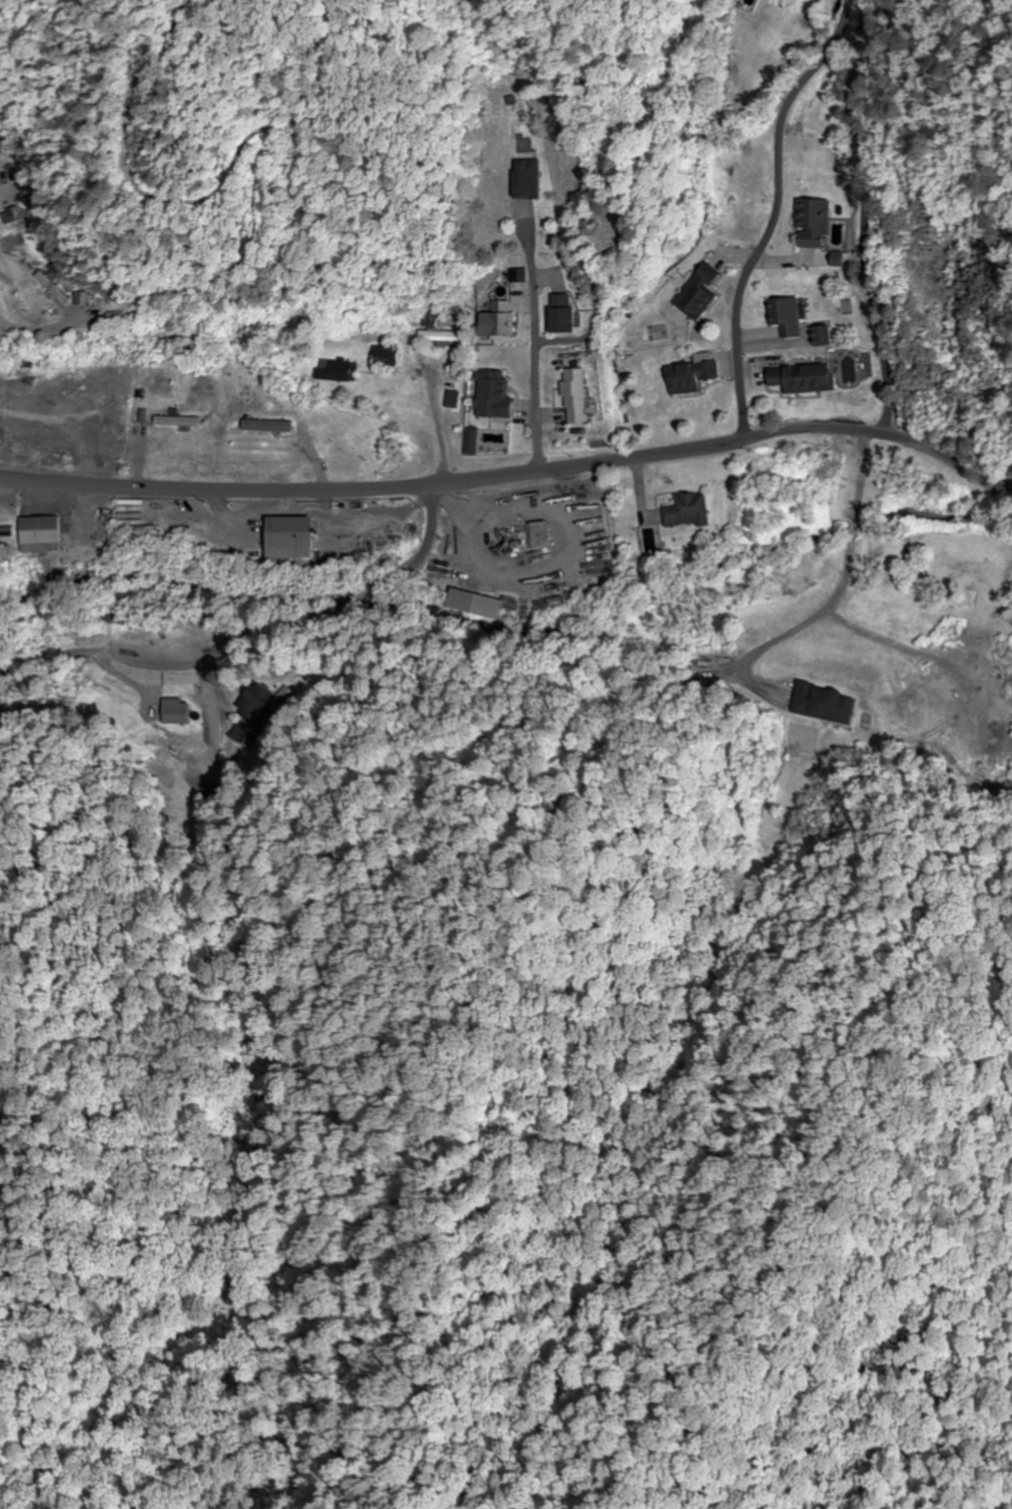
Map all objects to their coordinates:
building: (4, 166)
building: (522, 178)
road: (864, 214)
building: (811, 223)
road: (774, 224)
building: (46, 286)
building: (697, 292)
building: (560, 313)
building: (784, 316)
building: (496, 320)
building: (820, 336)
building: (439, 338)
road: (532, 352)
building: (383, 354)
building: (335, 370)
building: (691, 374)
building: (801, 378)
building: (492, 395)
building: (574, 396)
building: (178, 421)
building: (271, 425)
road: (515, 478)
building: (689, 511)
building: (44, 534)
building: (539, 536)
building: (293, 541)
building: (441, 566)
road: (252, 634)
building: (261, 703)
building: (826, 704)
building: (244, 743)

